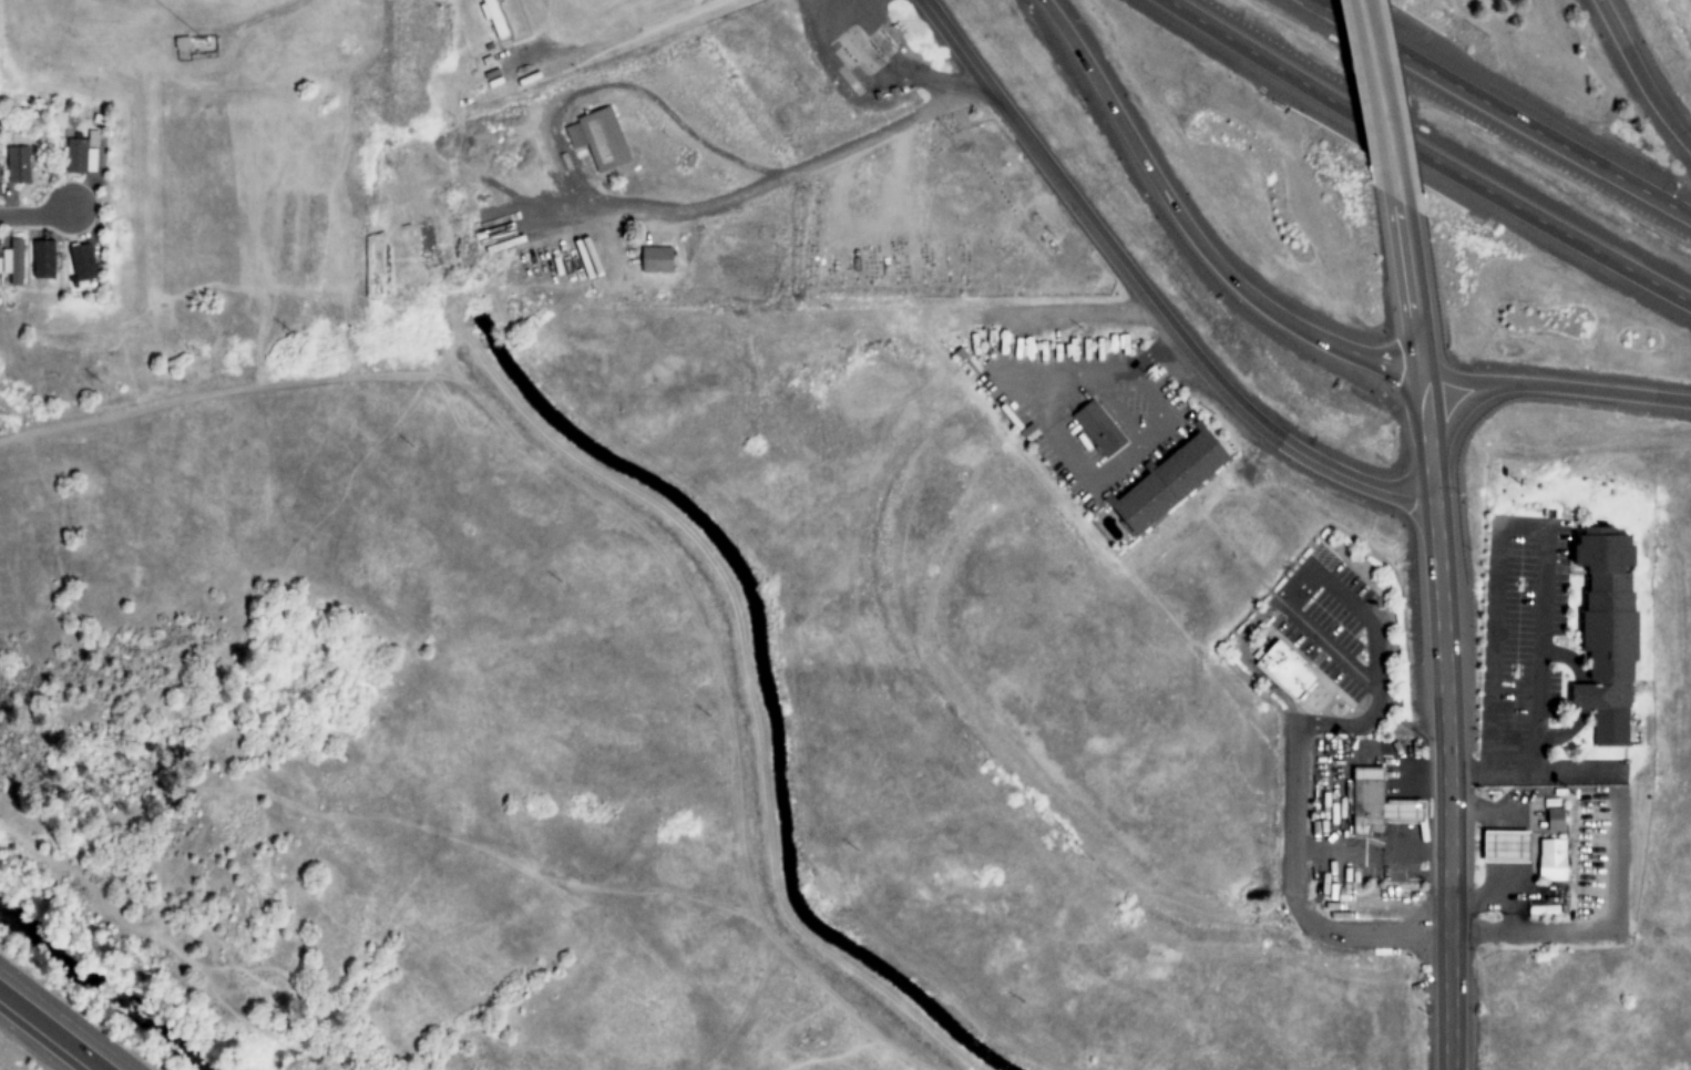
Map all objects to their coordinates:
building: (491, 17)
road: (626, 33)
road: (953, 42)
road: (1640, 73)
road: (1397, 109)
road: (1497, 109)
building: (597, 138)
building: (81, 154)
road: (1429, 155)
building: (17, 165)
road: (1190, 199)
road: (611, 209)
road: (37, 215)
building: (42, 259)
building: (655, 260)
building: (12, 263)
building: (81, 263)
road: (1425, 279)
road: (1180, 338)
road: (1406, 357)
road: (1435, 359)
road: (1408, 387)
road: (1562, 387)
road: (1437, 397)
road: (1468, 410)
building: (1097, 429)
road: (1439, 435)
building: (1168, 481)
building: (1606, 632)
building: (1283, 671)
road: (1447, 761)
building: (1375, 805)
road: (1293, 812)
building: (1554, 820)
building: (1504, 847)
building: (1550, 860)
river: (91, 998)
road: (70, 1016)
road: (50, 1031)

